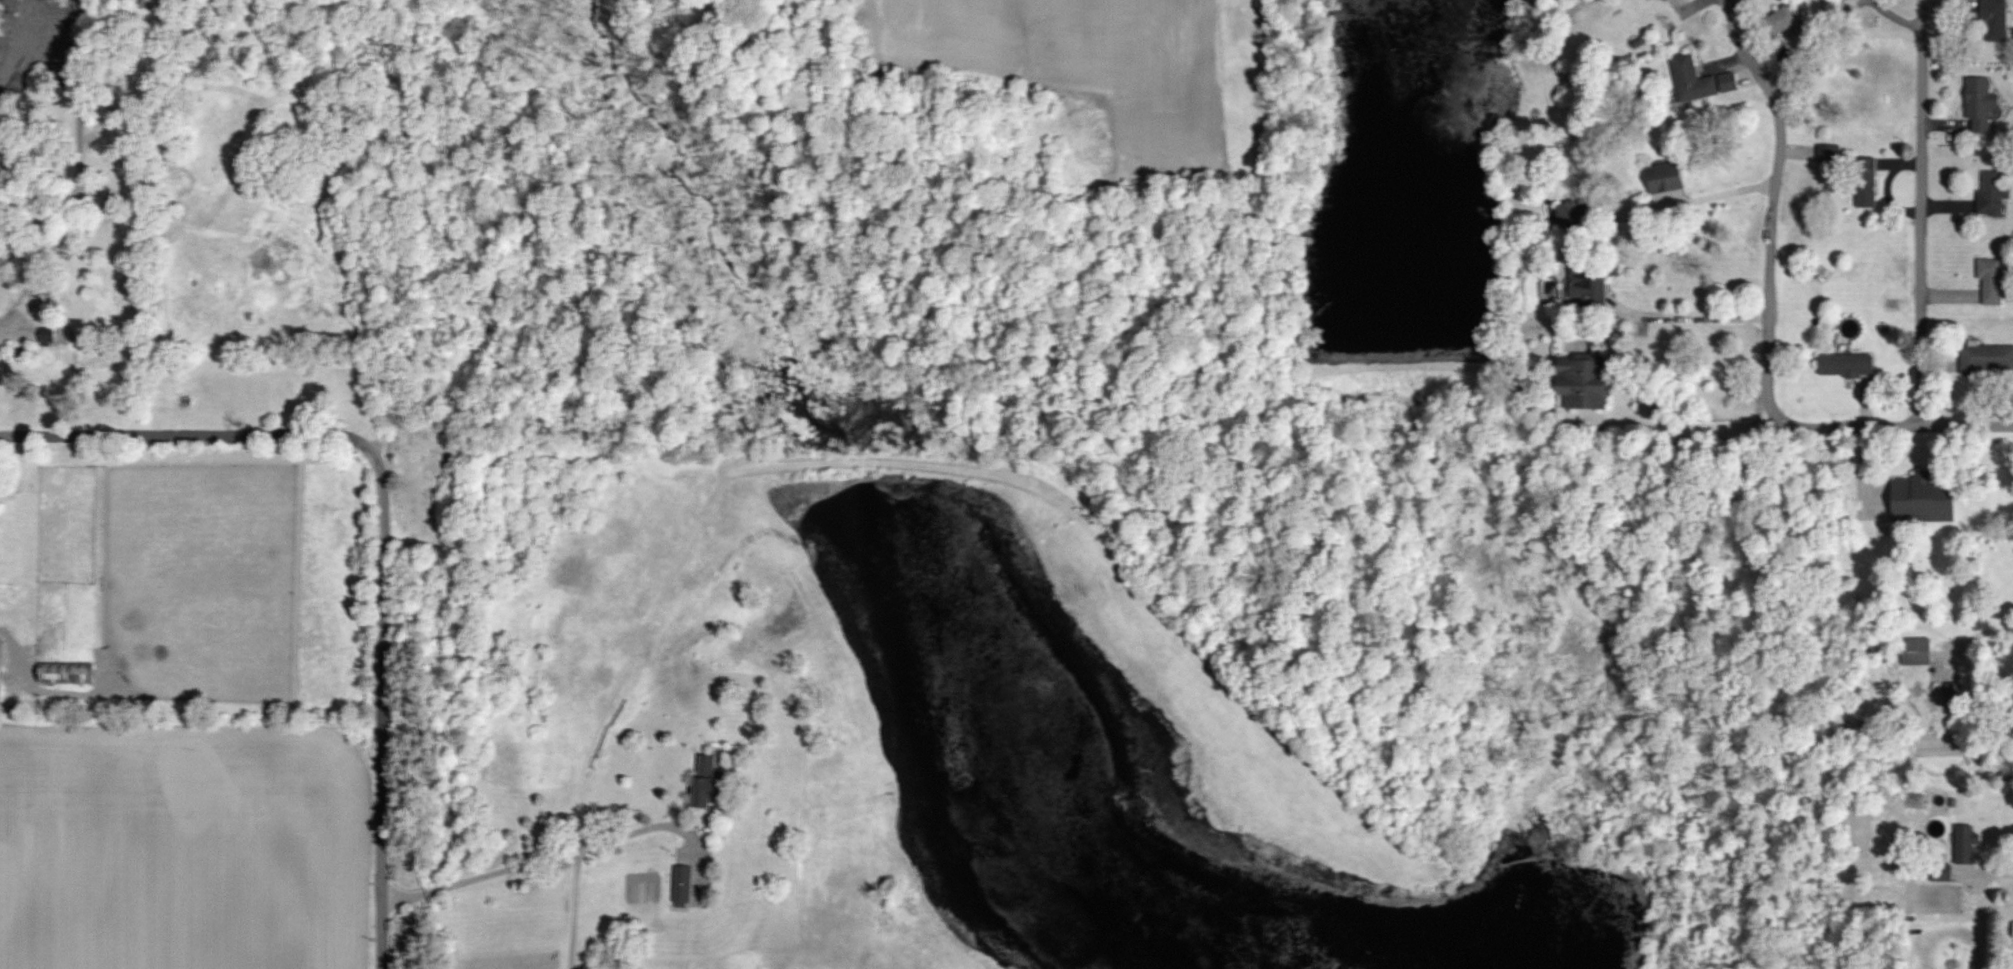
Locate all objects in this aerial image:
building: (155, 5)
building: (1789, 17)
building: (1996, 19)
building: (1694, 80)
building: (1731, 83)
building: (1983, 105)
road: (72, 169)
building: (1668, 178)
building: (1869, 183)
building: (1994, 194)
road: (1717, 196)
road: (1922, 213)
road: (1772, 224)
building: (1993, 281)
building: (1588, 287)
road: (1686, 316)
building: (50, 336)
building: (1988, 358)
building: (1849, 366)
building: (1589, 385)
road: (1916, 426)
road: (1698, 427)
road: (176, 434)
road: (2008, 467)
building: (1928, 501)
building: (1922, 651)
building: (69, 673)
road: (379, 697)
building: (711, 781)
building: (1967, 843)
road: (536, 861)
road: (1959, 870)
building: (1944, 875)
road: (2000, 877)
building: (684, 884)

